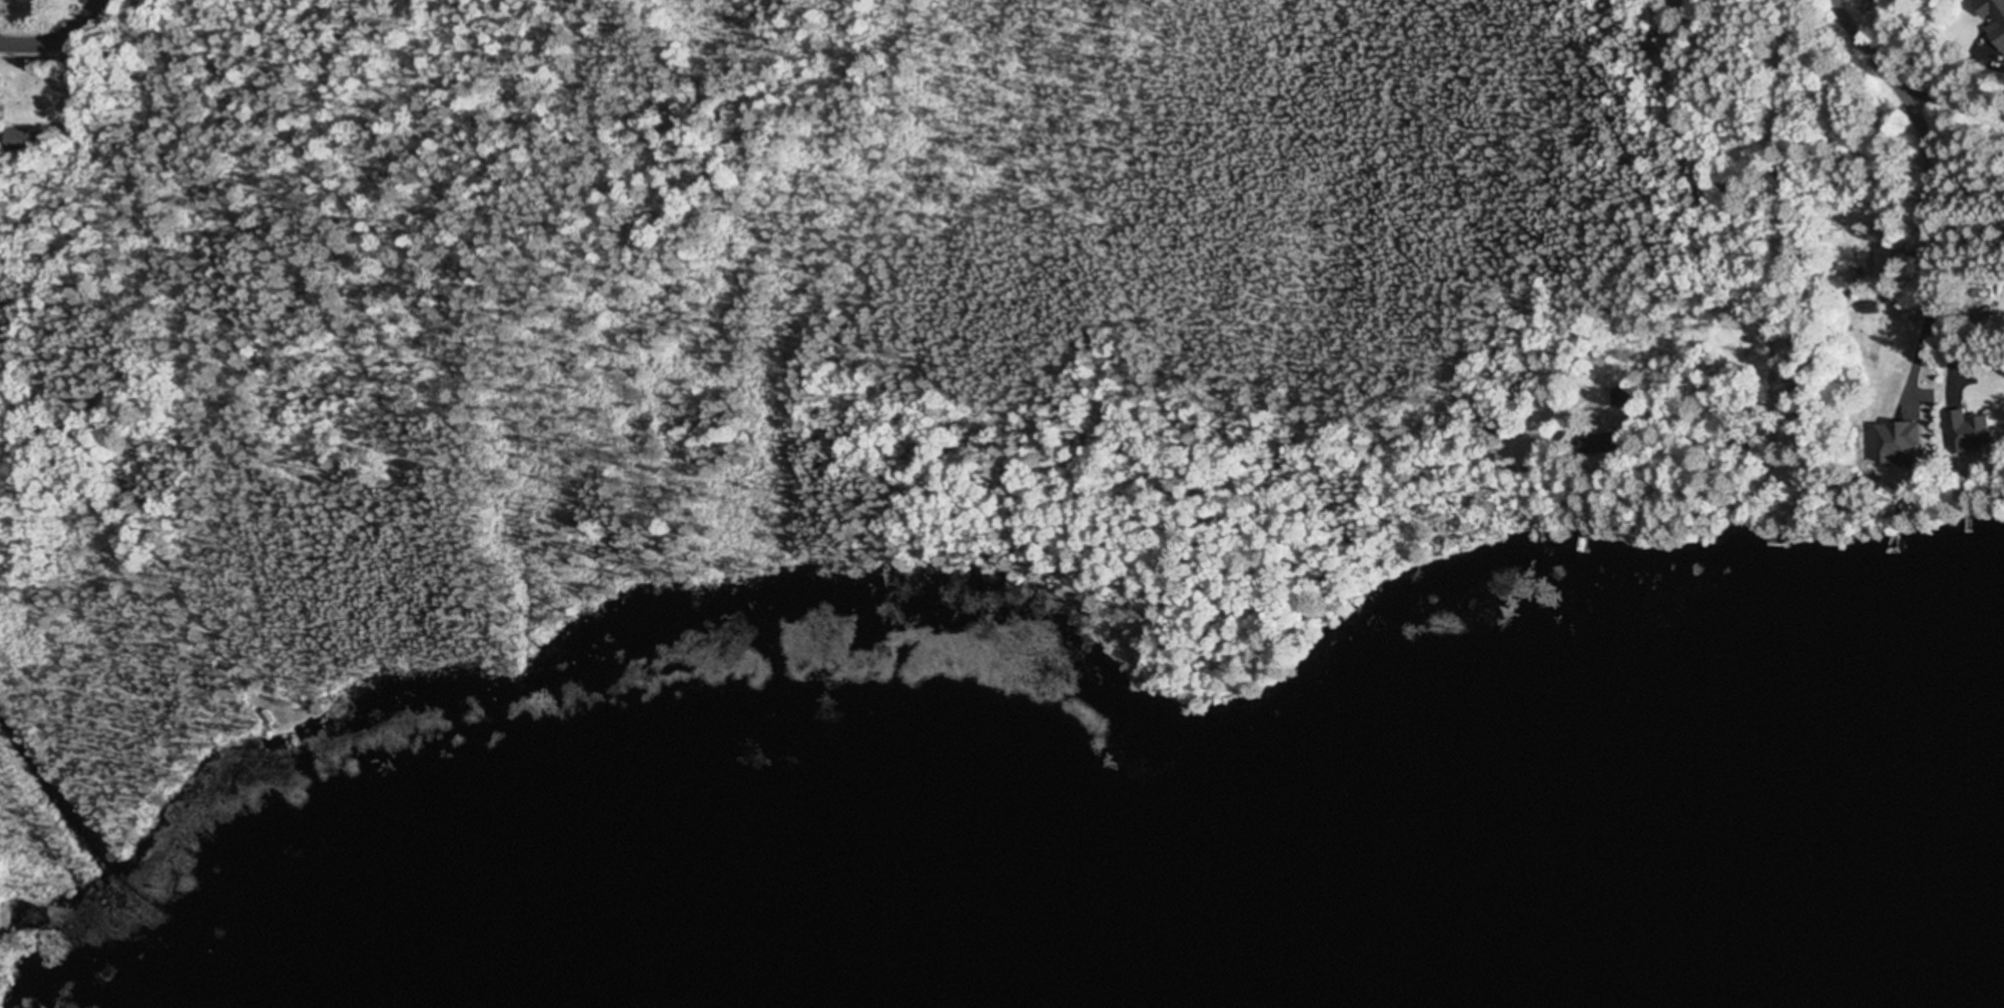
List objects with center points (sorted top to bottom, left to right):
building: (1992, 21)
road: (55, 33)
road: (1930, 57)
road: (1930, 145)
building: (1977, 295)
building: (1621, 397)
building: (1964, 434)
building: (1603, 445)

